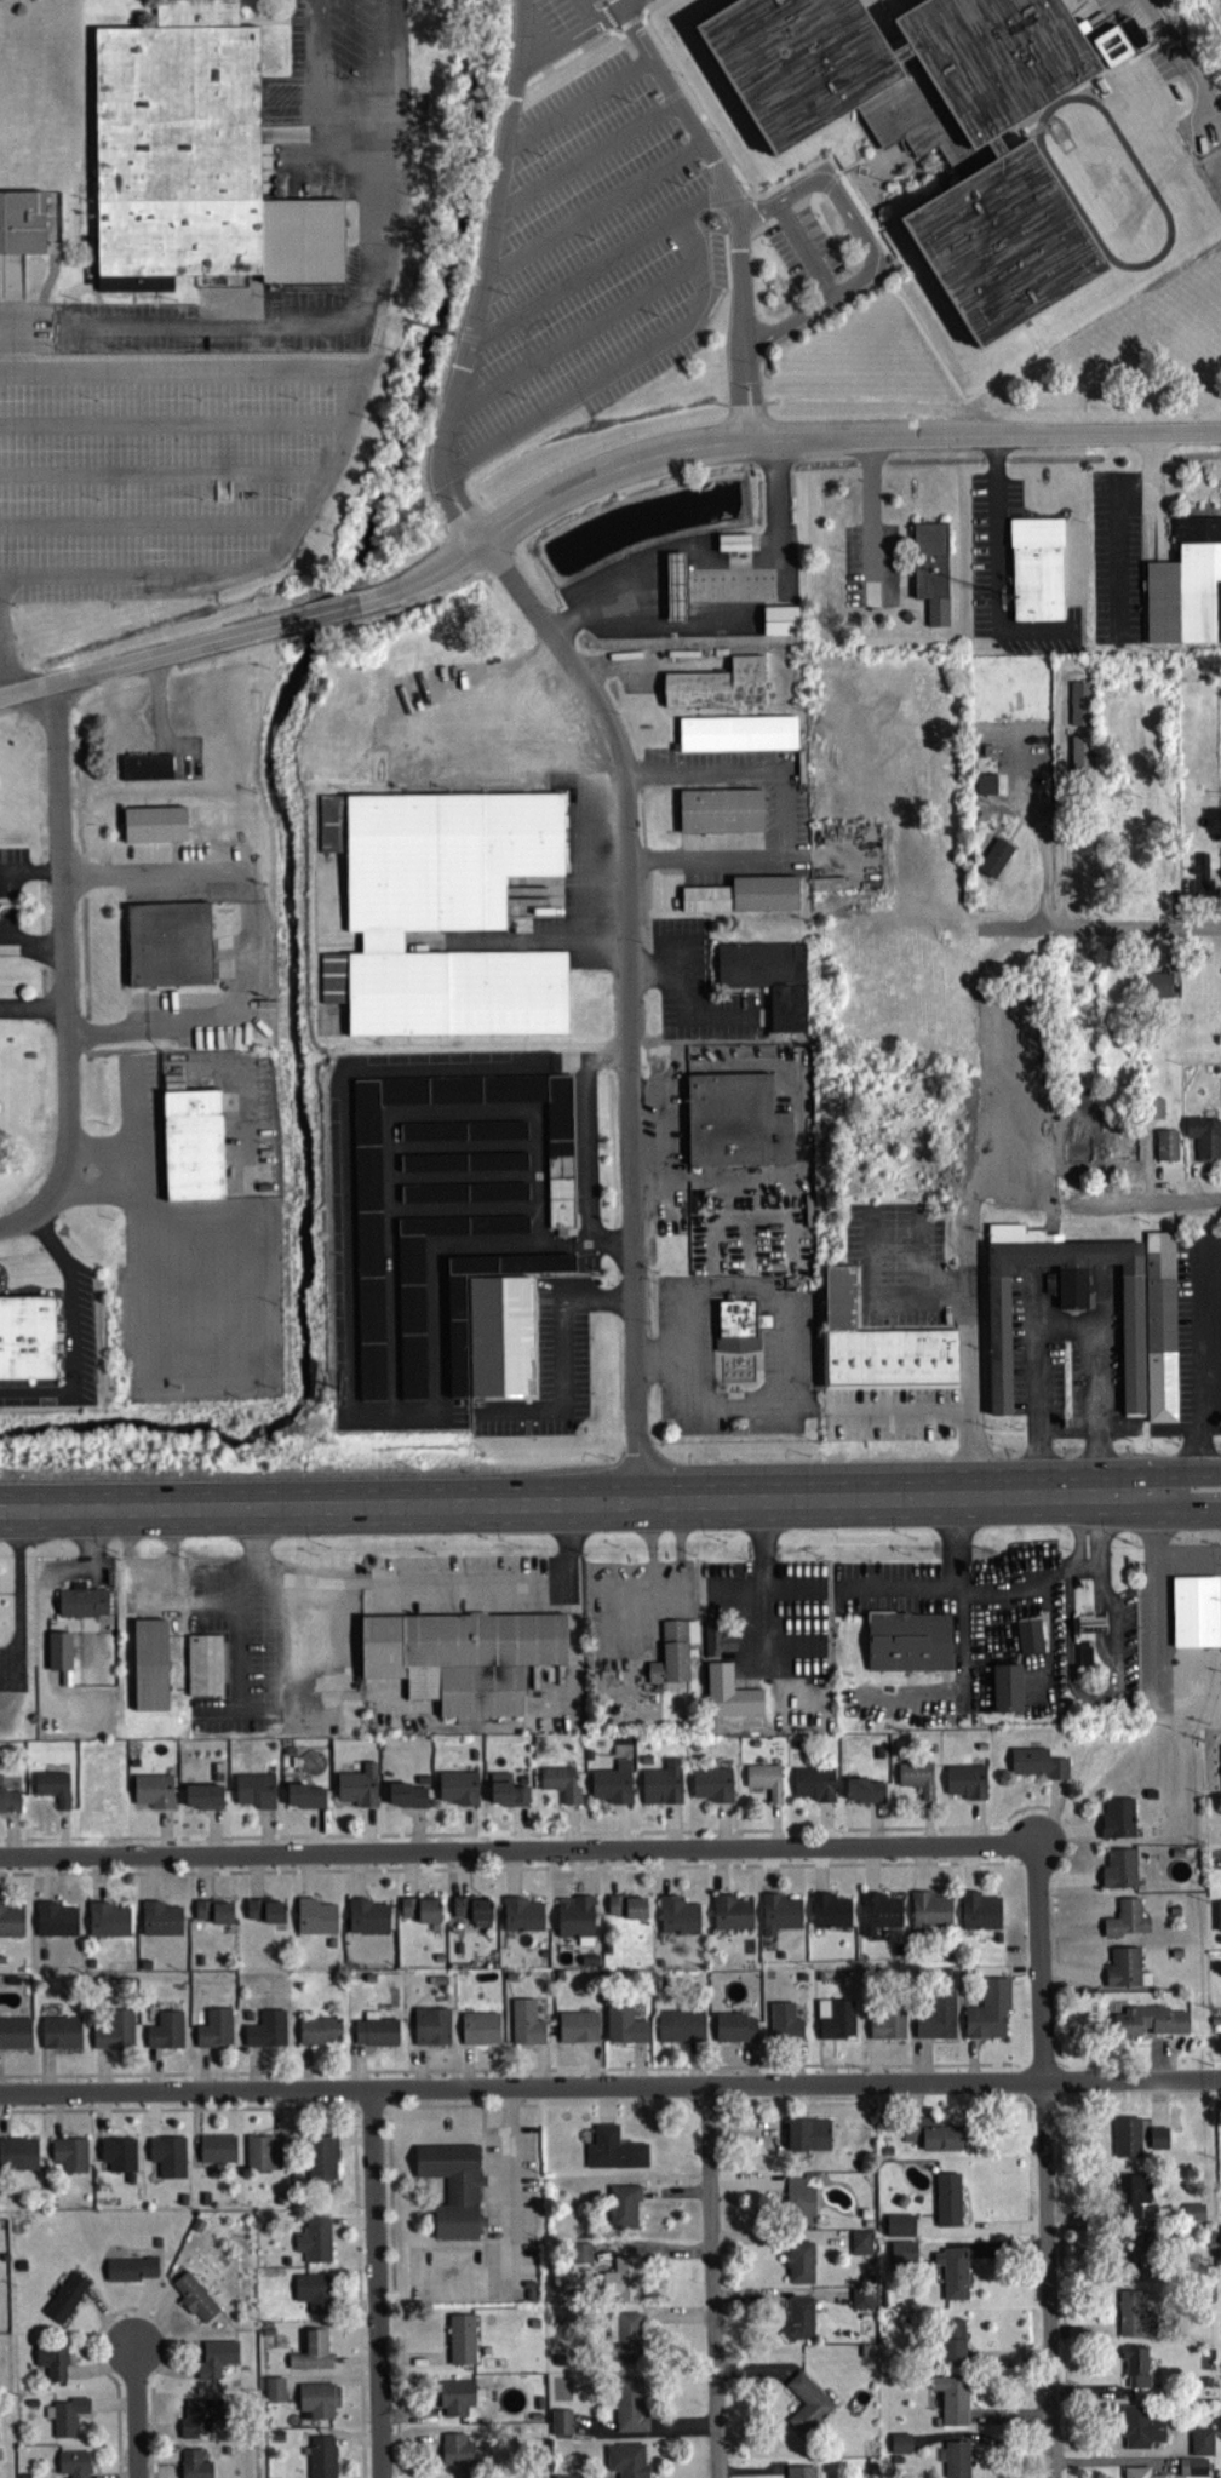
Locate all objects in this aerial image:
road: (620, 2)
road: (627, 2)
road: (586, 12)
parking lot: (562, 28)
building: (1118, 46)
road: (1181, 55)
road: (579, 103)
building: (934, 126)
road: (587, 154)
building: (195, 159)
road: (595, 206)
road: (734, 206)
building: (21, 226)
parking lot: (803, 246)
parking lot: (590, 260)
road: (600, 262)
road: (482, 276)
road: (363, 292)
road: (575, 332)
road: (615, 366)
road: (770, 436)
road: (10, 457)
building: (1039, 564)
road: (997, 566)
building: (930, 574)
gas station: (675, 584)
building: (1187, 585)
building: (675, 587)
road: (319, 612)
building: (779, 618)
road: (138, 656)
road: (2, 677)
building: (717, 689)
road: (498, 690)
building: (1078, 707)
building: (736, 738)
building: (1080, 761)
building: (147, 764)
building: (984, 788)
road: (784, 810)
building: (720, 815)
building: (155, 821)
road: (1062, 827)
road: (1043, 834)
building: (993, 862)
road: (149, 877)
building: (1199, 881)
building: (829, 888)
building: (743, 900)
building: (440, 917)
road: (1143, 922)
building: (168, 942)
road: (63, 953)
building: (768, 982)
building: (1157, 990)
road: (631, 994)
road: (33, 1011)
road: (217, 1021)
building: (1154, 1113)
building: (734, 1126)
building: (430, 1135)
building: (494, 1135)
building: (1204, 1141)
building: (194, 1142)
building: (365, 1149)
building: (1165, 1149)
building: (1125, 1152)
building: (1077, 1154)
building: (462, 1166)
building: (558, 1172)
building: (495, 1195)
building: (431, 1198)
road: (1145, 1200)
road: (15, 1224)
building: (430, 1229)
building: (495, 1229)
road: (919, 1249)
parking lot: (901, 1263)
road: (968, 1270)
building: (1050, 1287)
road: (871, 1297)
building: (1068, 1304)
building: (368, 1309)
building: (409, 1321)
building: (1162, 1324)
parking lot: (1198, 1325)
building: (738, 1330)
road: (68, 1333)
building: (504, 1336)
building: (455, 1340)
building: (25, 1342)
building: (881, 1346)
road: (1210, 1356)
road: (969, 1387)
parking lot: (887, 1412)
road: (902, 1413)
road: (1185, 1478)
road: (575, 1499)
road: (1185, 1508)
road: (1090, 1509)
road: (761, 1564)
road: (1083, 1571)
road: (895, 1584)
road: (415, 1587)
road: (965, 1595)
road: (1154, 1597)
building: (81, 1607)
building: (1197, 1610)
building: (1028, 1640)
building: (1087, 1640)
building: (718, 1644)
building: (907, 1646)
building: (57, 1656)
building: (672, 1657)
building: (462, 1662)
building: (150, 1663)
building: (205, 1663)
building: (1005, 1693)
building: (728, 1697)
road: (1091, 1703)
building: (1037, 1768)
building: (916, 1782)
building: (763, 1784)
building: (965, 1785)
building: (560, 1788)
building: (612, 1788)
building: (661, 1788)
building: (813, 1788)
building: (711, 1789)
building: (357, 1790)
building: (52, 1791)
building: (458, 1792)
building: (254, 1794)
building: (153, 1795)
building: (862, 1795)
building: (505, 1796)
building: (202, 1800)
building: (405, 1800)
building: (304, 1801)
building: (8, 1805)
building: (1117, 1822)
road: (520, 1849)
building: (1119, 1874)
building: (934, 1906)
building: (833, 1909)
building: (985, 1909)
building: (883, 1910)
building: (625, 1911)
building: (419, 1914)
building: (264, 1915)
building: (472, 1915)
building: (212, 1916)
building: (730, 1917)
building: (778, 1917)
building: (521, 1920)
building: (677, 1920)
building: (314, 1921)
building: (367, 1921)
building: (573, 1921)
building: (1217, 1921)
building: (160, 1923)
building: (55, 1925)
building: (107, 1925)
building: (1125, 1925)
building: (11, 1926)
building: (1124, 1973)
building: (987, 2015)
building: (936, 2020)
building: (835, 2024)
building: (784, 2026)
building: (1148, 2026)
building: (524, 2027)
building: (885, 2027)
building: (624, 2030)
building: (680, 2030)
building: (430, 2031)
building: (577, 2031)
building: (480, 2032)
building: (734, 2032)
building: (213, 2034)
building: (164, 2035)
building: (265, 2035)
building: (319, 2035)
building: (374, 2035)
building: (114, 2036)
building: (15, 2037)
building: (59, 2037)
road: (610, 2086)
building: (931, 2138)
building: (807, 2139)
building: (1127, 2141)
building: (1157, 2143)
building: (216, 2152)
building: (613, 2155)
building: (262, 2157)
building: (18, 2158)
building: (69, 2158)
building: (117, 2158)
road: (1045, 2159)
building: (167, 2161)
building: (320, 2162)
building: (452, 2192)
building: (1131, 2202)
building: (947, 2203)
building: (798, 2207)
building: (623, 2210)
building: (1193, 2216)
building: (899, 2230)
building: (314, 2244)
building: (859, 2247)
building: (1130, 2255)
building: (580, 2258)
building: (901, 2258)
building: (798, 2267)
building: (130, 2273)
building: (1193, 2275)
building: (952, 2277)
road: (713, 2282)
road: (374, 2283)
building: (620, 2284)
building: (562, 2288)
building: (311, 2295)
building: (65, 2301)
building: (194, 2302)
building: (862, 2302)
building: (1134, 2319)
building: (798, 2322)
building: (624, 2340)
building: (460, 2344)
building: (952, 2345)
building: (310, 2356)
building: (214, 2363)
building: (51, 2364)
building: (1135, 2370)
building: (274, 2394)
building: (457, 2402)
building: (317, 2404)
building: (951, 2404)
building: (807, 2409)
building: (629, 2410)
road: (137, 2411)
building: (63, 2421)
building: (197, 2421)
building: (560, 2426)
building: (1140, 2432)
building: (1200, 2445)
building: (899, 2448)
building: (459, 2454)
building: (321, 2459)
building: (955, 2461)
building: (625, 2462)
building: (71, 2467)
building: (193, 2467)
building: (1192, 2470)
building: (799, 2474)
building: (1136, 2474)

